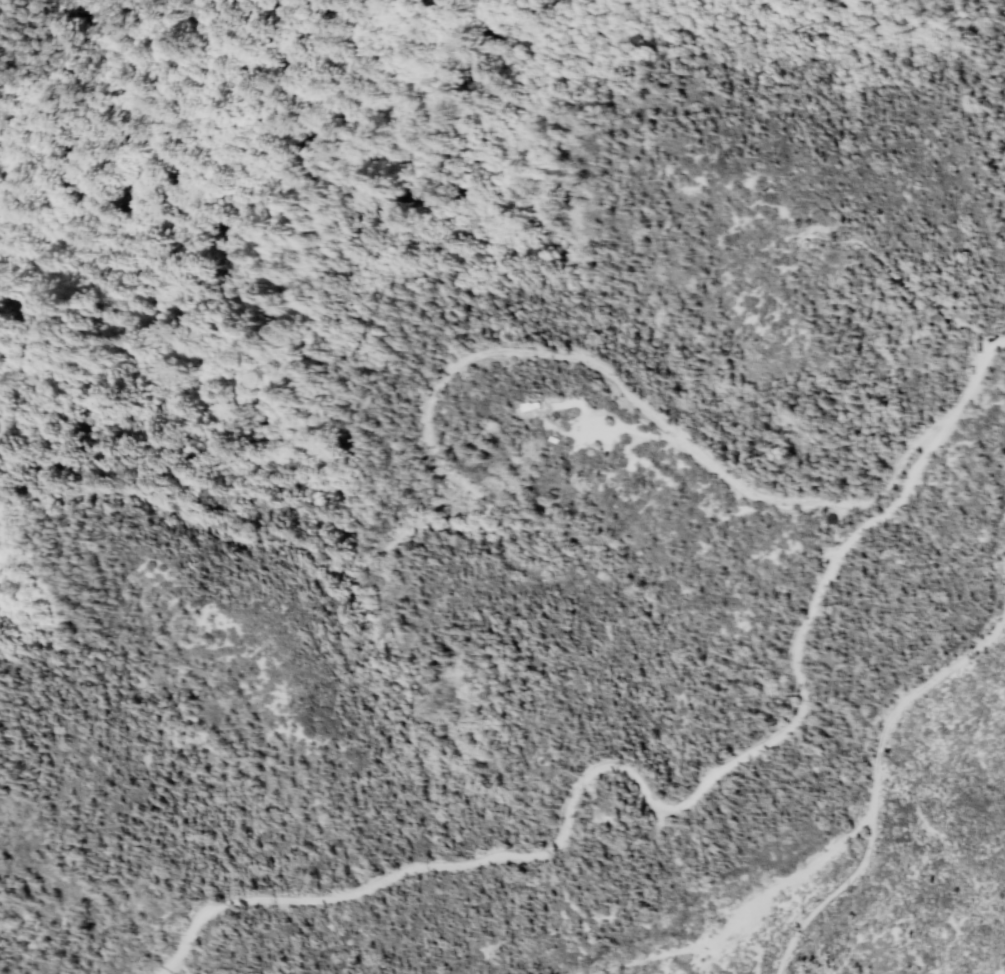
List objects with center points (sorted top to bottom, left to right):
road: (932, 307)
building: (530, 406)
road: (608, 427)
building: (553, 439)
road: (469, 492)
road: (861, 797)
road: (661, 806)
road: (823, 896)

